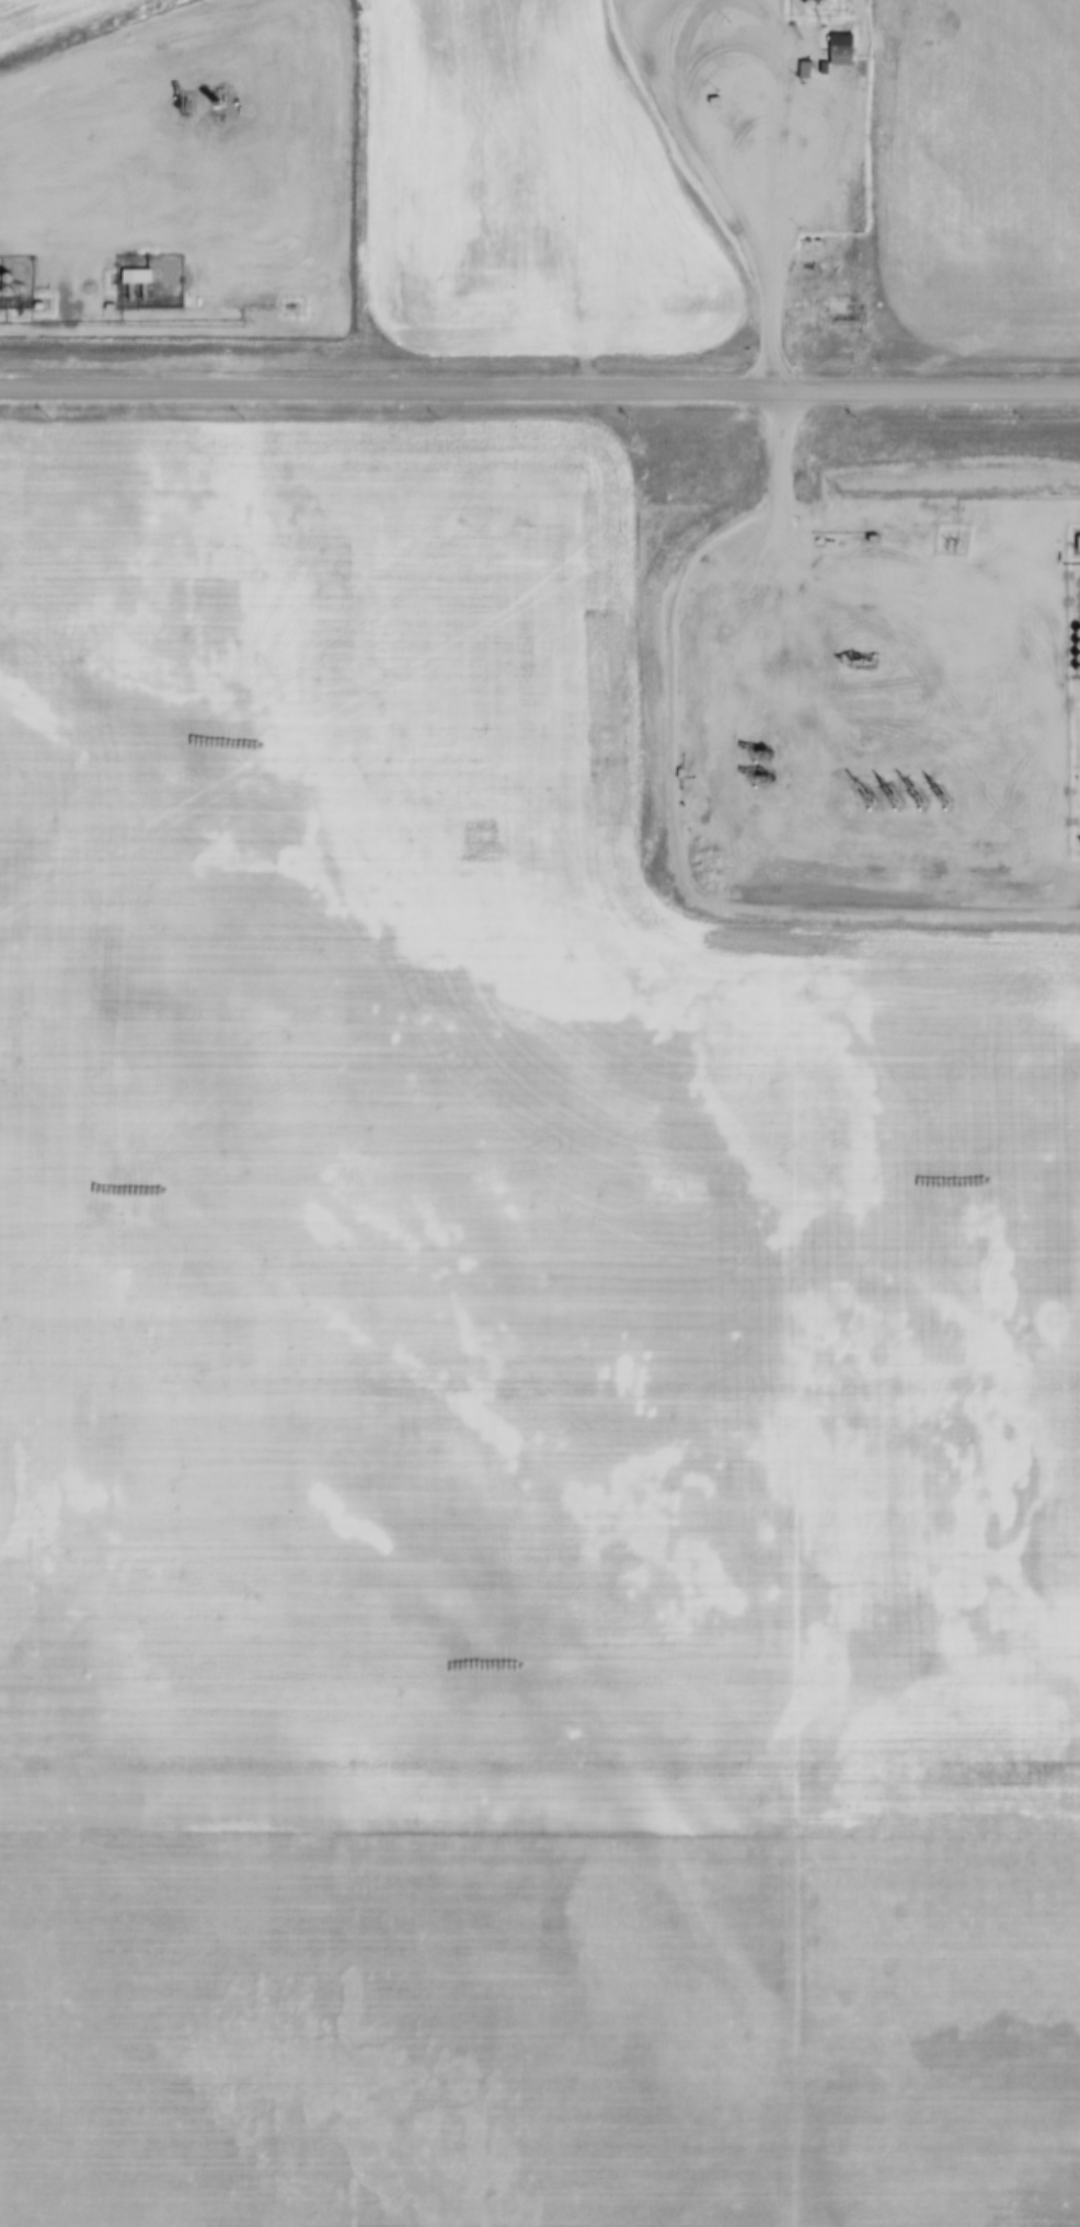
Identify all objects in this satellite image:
building: (814, 42)
building: (843, 44)
road: (540, 390)

